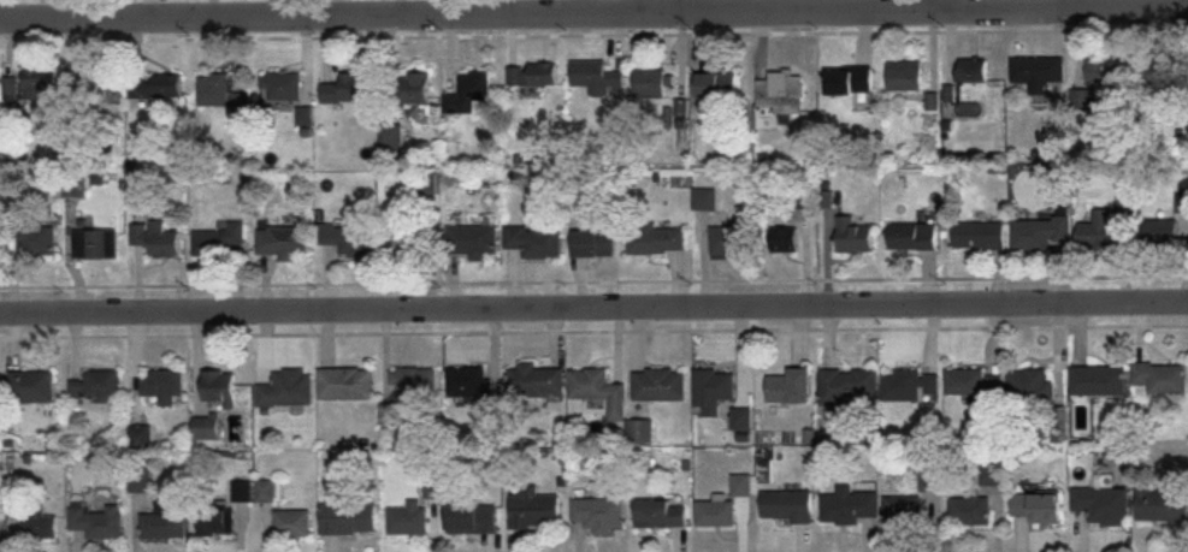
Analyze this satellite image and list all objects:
road: (666, 6)
road: (593, 13)
building: (974, 67)
building: (1162, 67)
building: (1104, 69)
building: (1039, 70)
building: (532, 73)
building: (905, 73)
building: (598, 76)
building: (96, 78)
building: (851, 79)
building: (39, 81)
building: (651, 82)
building: (282, 83)
building: (719, 83)
building: (12, 85)
building: (156, 85)
building: (213, 87)
building: (345, 87)
building: (414, 87)
building: (468, 91)
building: (786, 91)
building: (1086, 97)
building: (705, 197)
building: (1041, 230)
building: (1099, 230)
building: (1159, 231)
building: (857, 235)
building: (981, 235)
building: (915, 236)
building: (156, 238)
building: (348, 238)
building: (731, 238)
building: (220, 239)
building: (534, 239)
building: (657, 239)
building: (782, 239)
building: (40, 241)
building: (283, 241)
building: (473, 241)
building: (96, 243)
building: (404, 243)
building: (595, 243)
road: (593, 307)
building: (1163, 376)
building: (536, 380)
building: (1099, 380)
building: (468, 381)
building: (660, 381)
building: (975, 381)
building: (415, 382)
building: (162, 384)
building: (345, 384)
building: (850, 385)
building: (911, 385)
building: (1030, 385)
building: (32, 386)
building: (97, 386)
building: (599, 386)
building: (791, 386)
building: (220, 387)
building: (286, 388)
building: (714, 388)
building: (743, 419)
building: (207, 428)
building: (140, 437)
building: (992, 473)
building: (265, 491)
building: (916, 503)
building: (1105, 504)
building: (1160, 504)
building: (787, 505)
building: (849, 505)
building: (1038, 506)
building: (534, 509)
building: (971, 509)
building: (32, 511)
building: (716, 512)
building: (598, 514)
building: (660, 514)
building: (408, 516)
building: (348, 517)
building: (472, 517)
building: (166, 520)
building: (97, 521)
building: (215, 521)
building: (292, 523)

